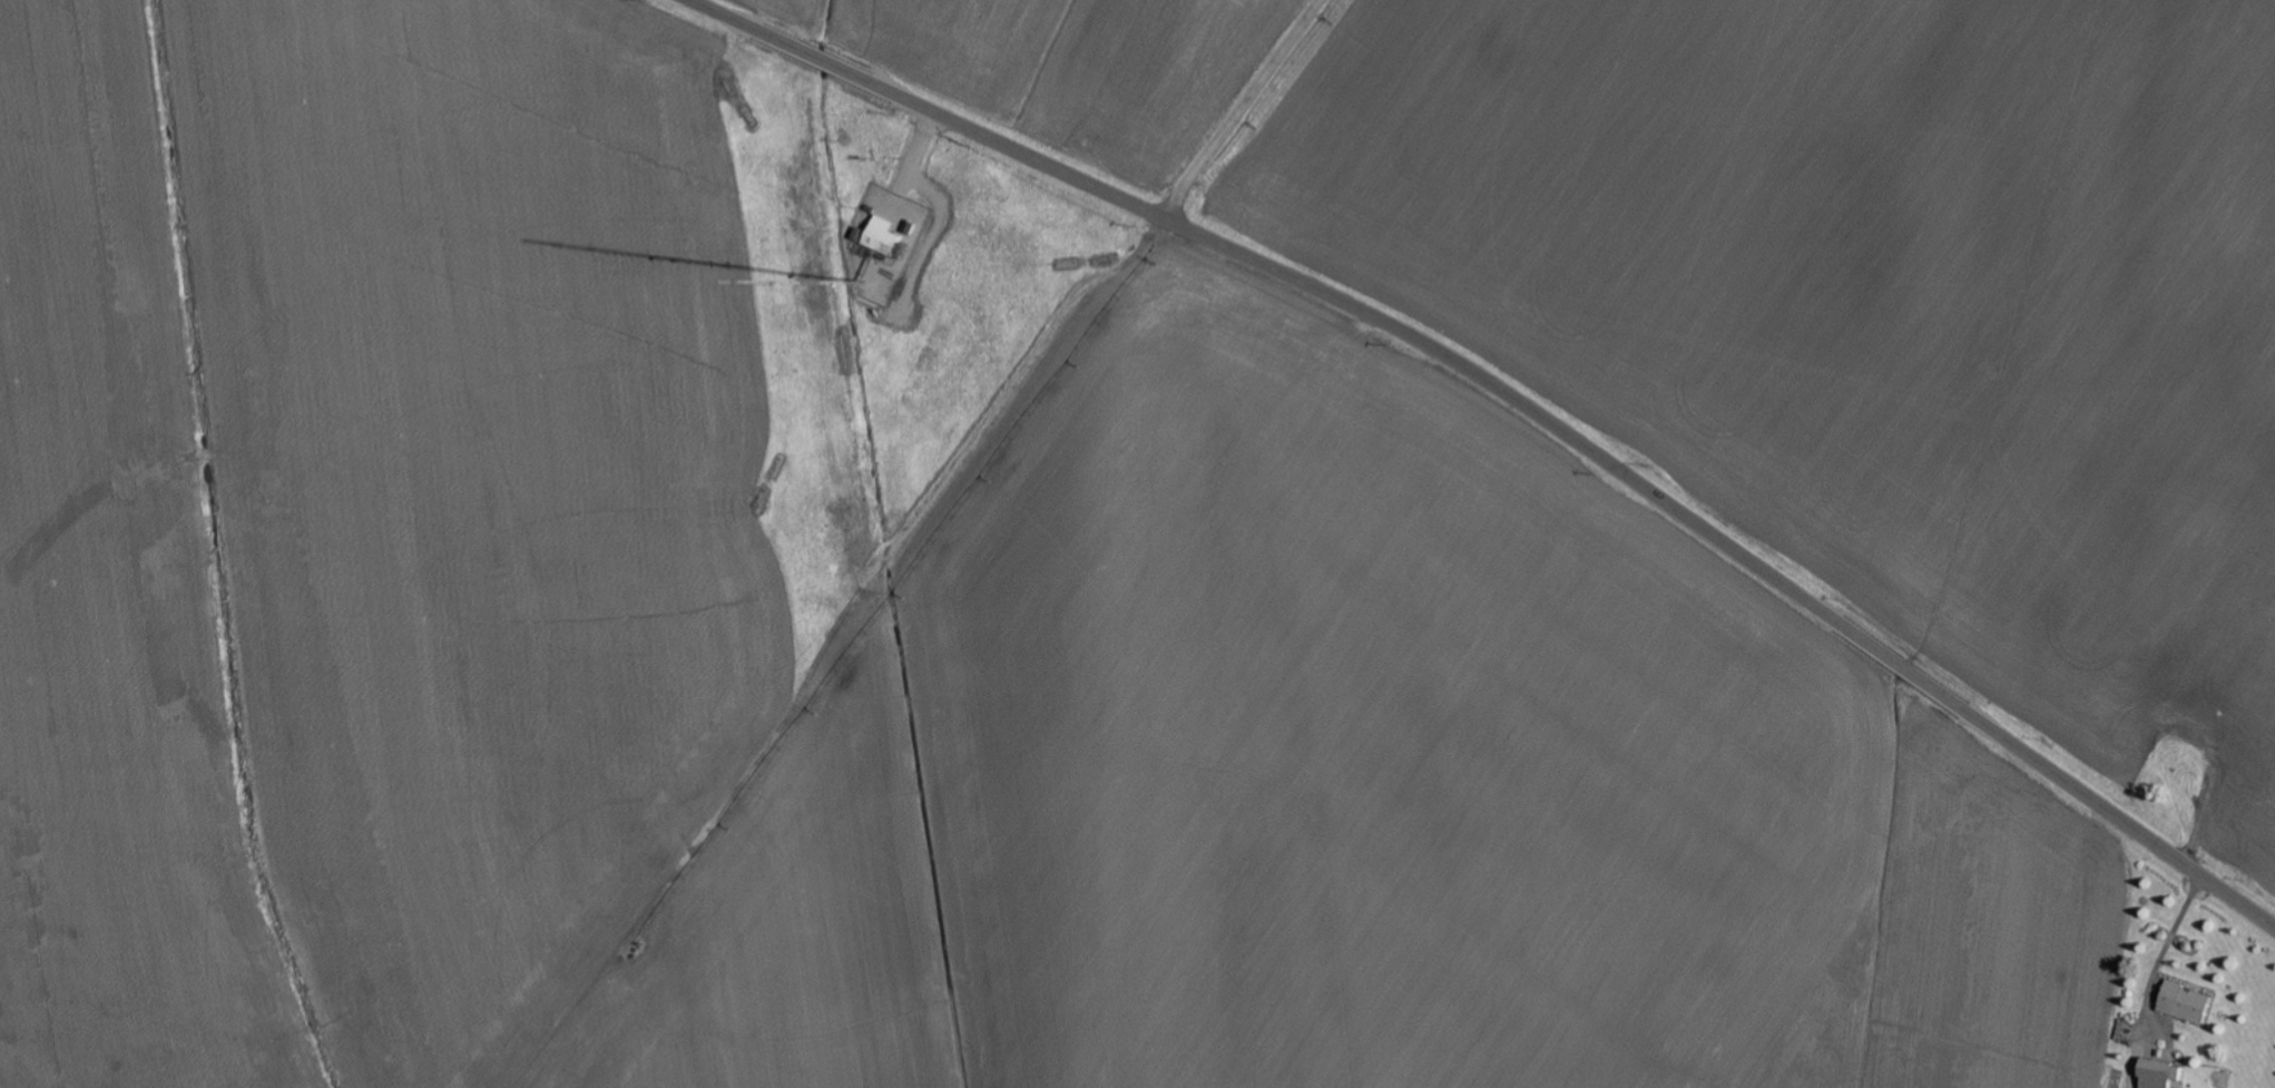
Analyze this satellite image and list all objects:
road: (1241, 108)
building: (883, 237)
road: (1518, 401)
road: (2156, 978)
building: (2187, 1003)
building: (2161, 1075)

